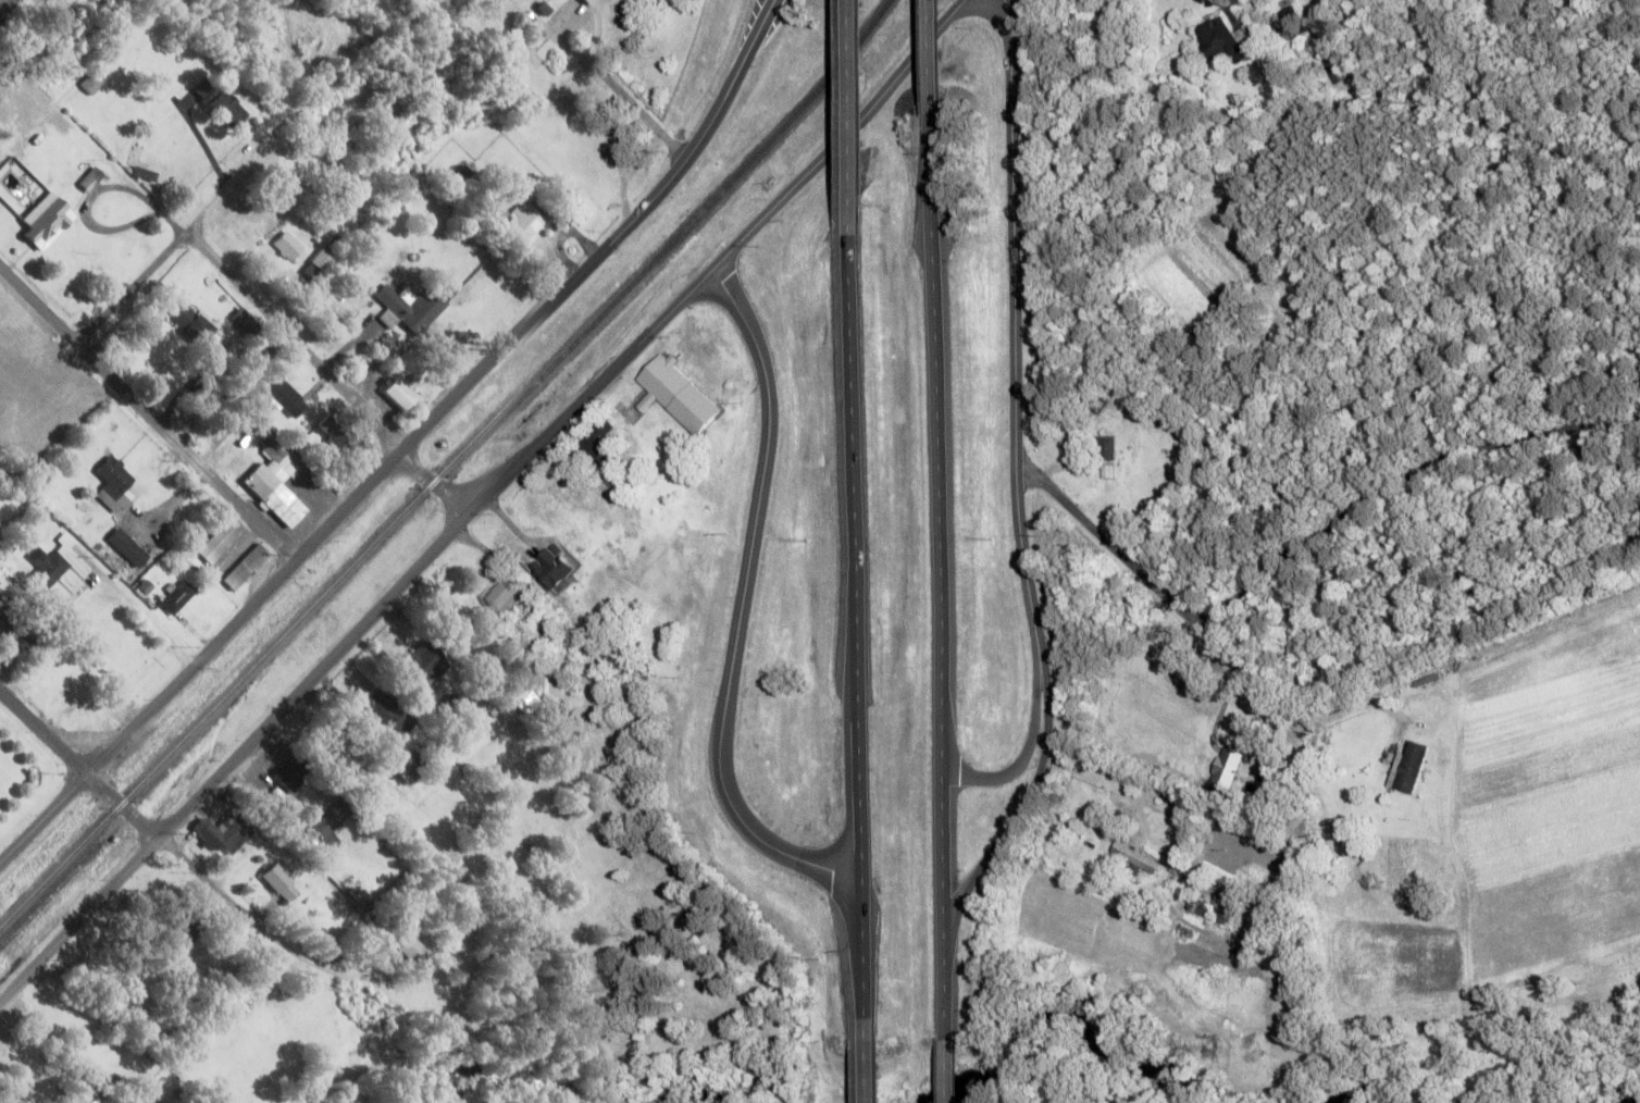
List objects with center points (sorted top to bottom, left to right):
building: (586, 0)
building: (593, 1)
road: (8, 8)
building: (1291, 21)
building: (1218, 39)
road: (593, 66)
building: (1331, 66)
road: (939, 76)
building: (91, 82)
building: (221, 102)
road: (859, 112)
building: (63, 123)
building: (91, 175)
road: (237, 177)
building: (485, 203)
building: (47, 220)
building: (522, 225)
building: (289, 246)
road: (136, 286)
building: (351, 288)
road: (1440, 288)
building: (409, 307)
building: (196, 324)
road: (1010, 332)
road: (330, 372)
building: (399, 391)
building: (674, 393)
building: (285, 396)
road: (450, 401)
building: (1093, 405)
road: (149, 410)
building: (341, 437)
building: (597, 442)
building: (1103, 447)
railway: (447, 469)
building: (275, 482)
building: (113, 485)
road: (481, 501)
building: (220, 538)
road: (1299, 543)
building: (127, 546)
building: (46, 558)
building: (245, 565)
building: (549, 571)
building: (176, 595)
building: (502, 595)
road: (942, 596)
road: (741, 604)
building: (55, 606)
building: (7, 622)
road: (861, 633)
building: (24, 641)
building: (424, 668)
building: (385, 709)
road: (1219, 709)
road: (1280, 710)
road: (45, 730)
road: (1395, 735)
building: (326, 743)
road: (1021, 753)
building: (411, 763)
building: (1414, 766)
building: (1227, 767)
building: (351, 769)
building: (289, 773)
crop: (1553, 802)
road: (1147, 804)
road: (124, 806)
road: (1021, 809)
road: (45, 816)
building: (324, 826)
building: (224, 831)
building: (1136, 857)
building: (278, 880)
building: (1194, 913)
road: (256, 922)
building: (182, 933)
building: (412, 952)
river: (1052, 1015)
river: (507, 1065)
road: (946, 1071)
road: (866, 1073)
river: (692, 1096)
river: (1630, 1101)

